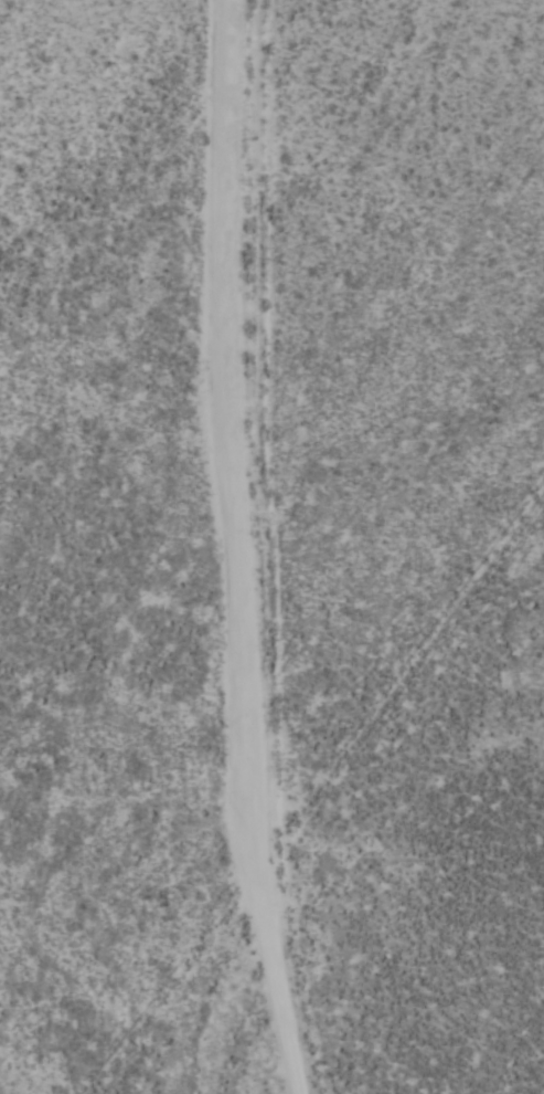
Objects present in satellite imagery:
crop: (271, 547)
road: (308, 548)

